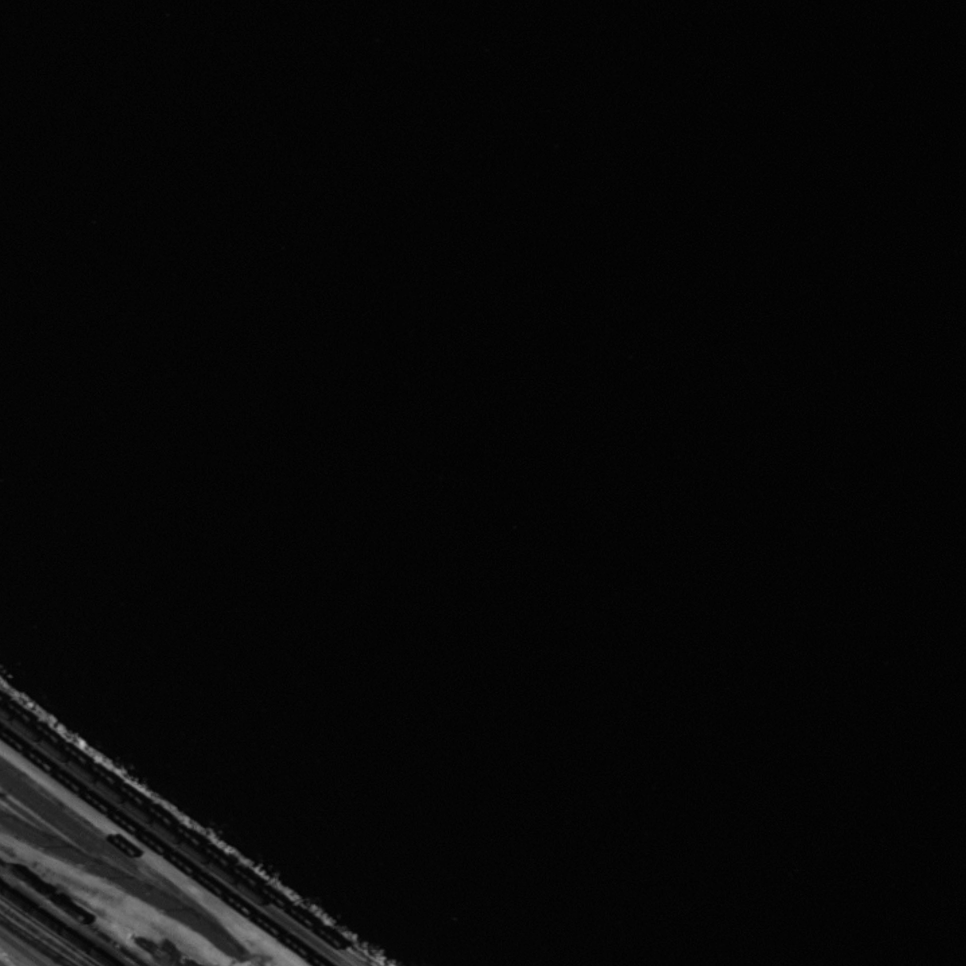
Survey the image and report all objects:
railway: (24, 821)
railway: (48, 830)
railway: (180, 834)
railway: (72, 836)
railway: (173, 840)
railway: (166, 845)
railway: (158, 850)
road: (149, 855)
railway: (133, 857)
railway: (121, 860)
railway: (99, 862)
railway: (72, 913)
railway: (55, 927)
railway: (44, 935)
railway: (33, 943)
railway: (22, 949)

